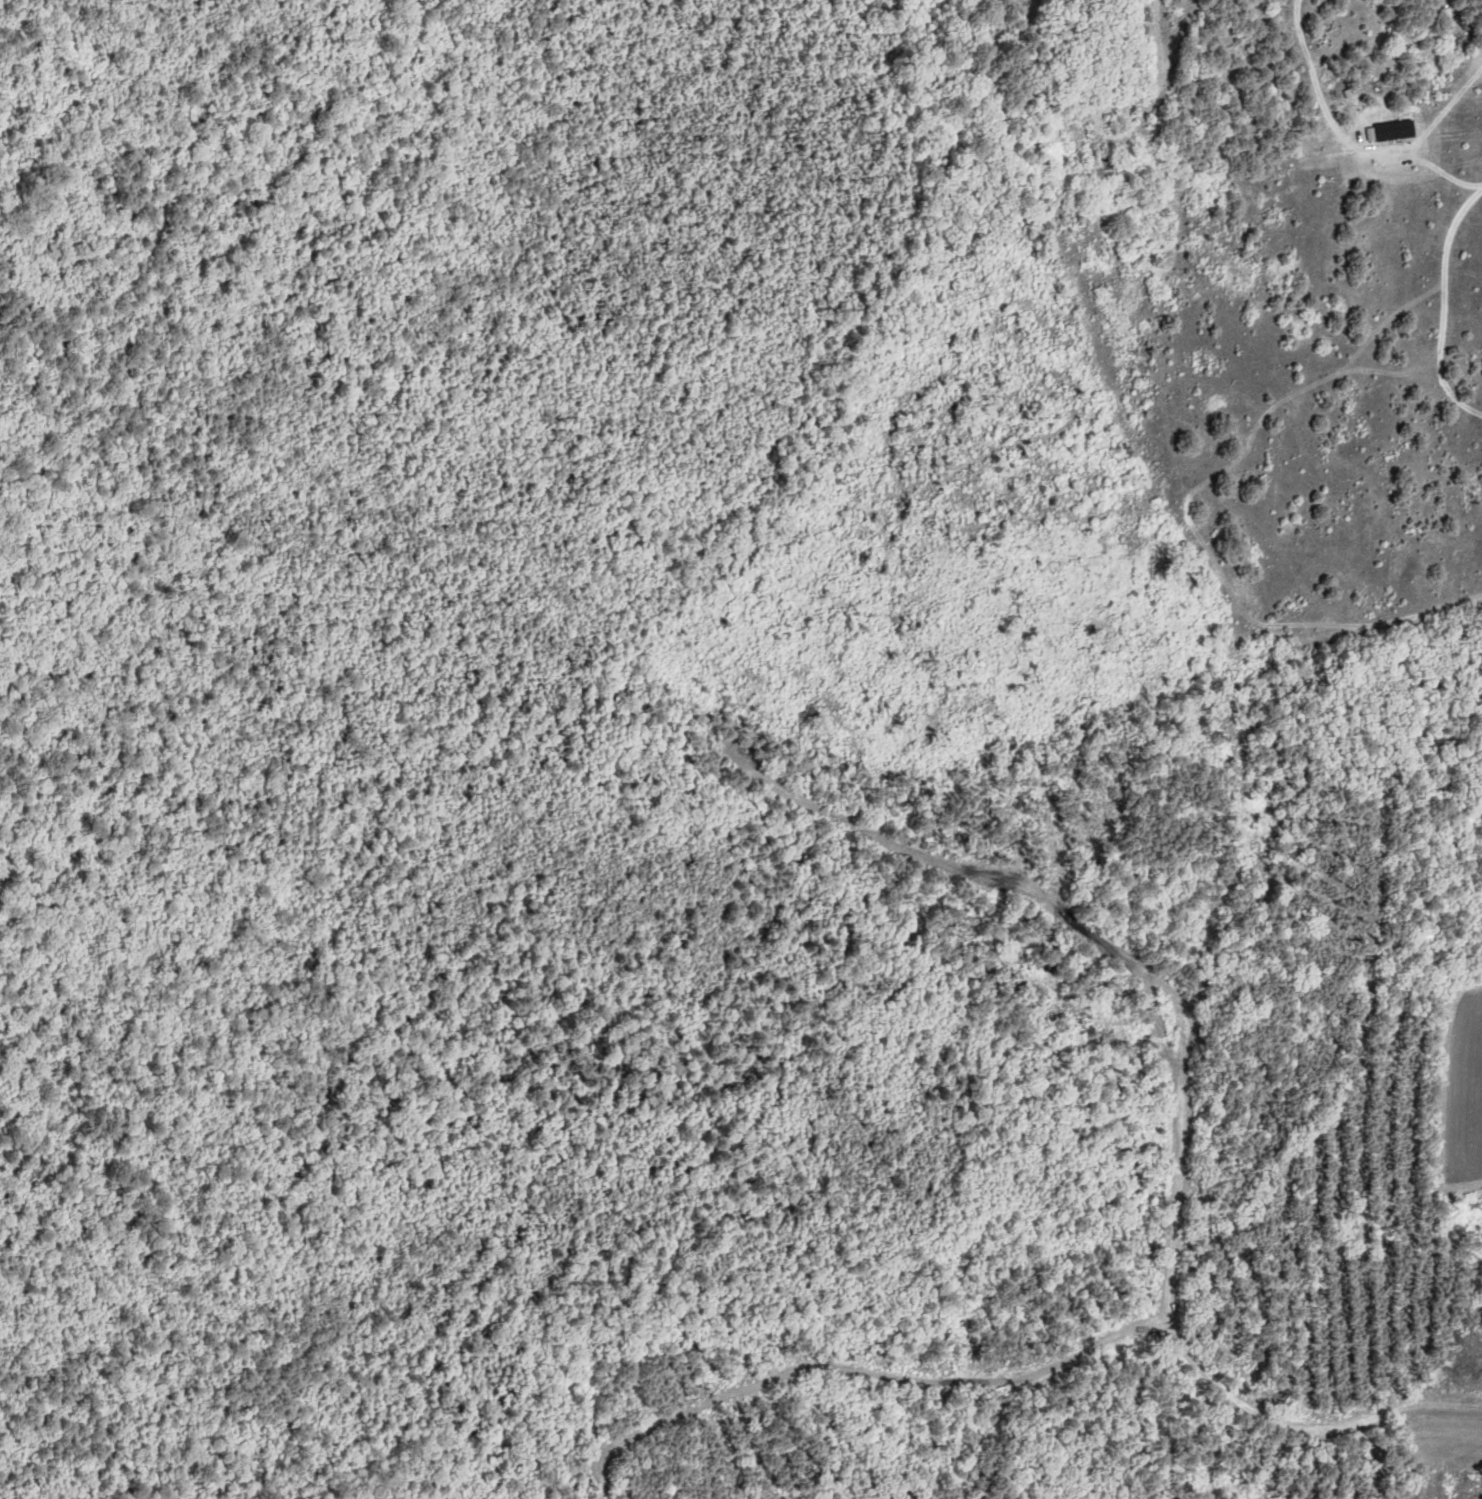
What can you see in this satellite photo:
building: (1107, 170)

